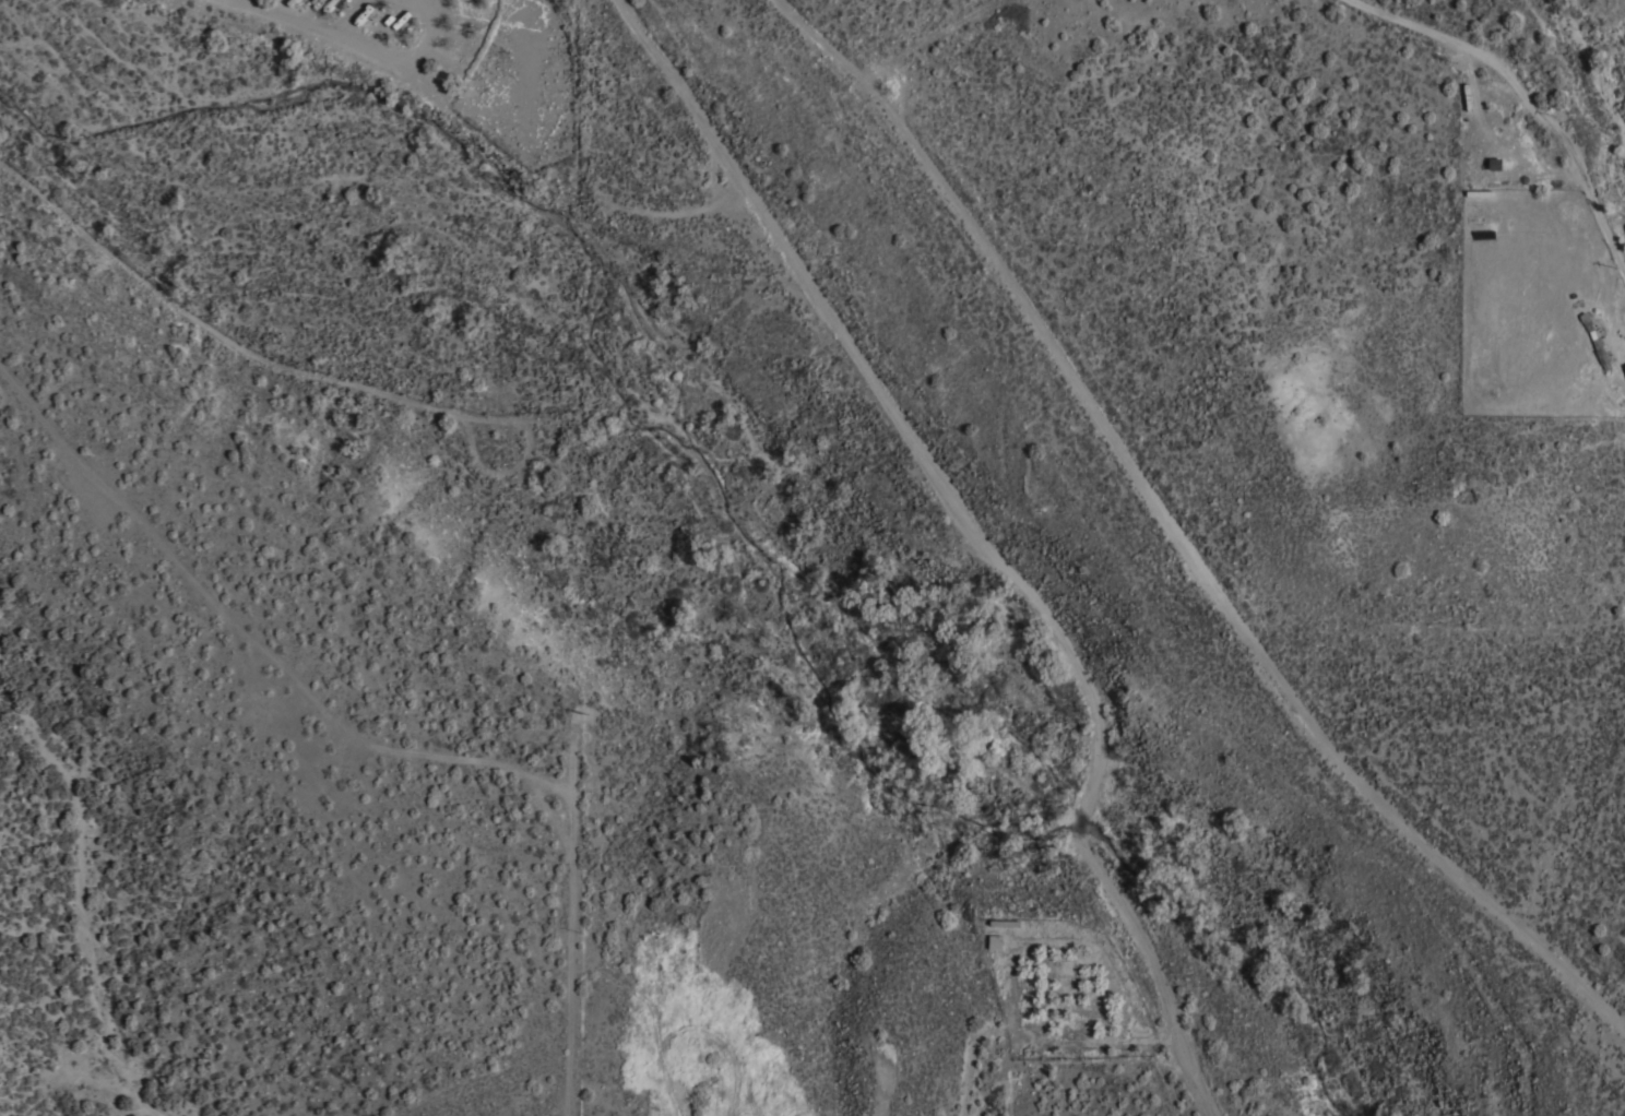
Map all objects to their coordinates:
road: (430, 2)
road: (352, 43)
road: (1528, 95)
building: (1624, 367)
road: (1175, 536)
road: (974, 538)
building: (1051, 924)
building: (995, 942)
road: (1013, 955)

